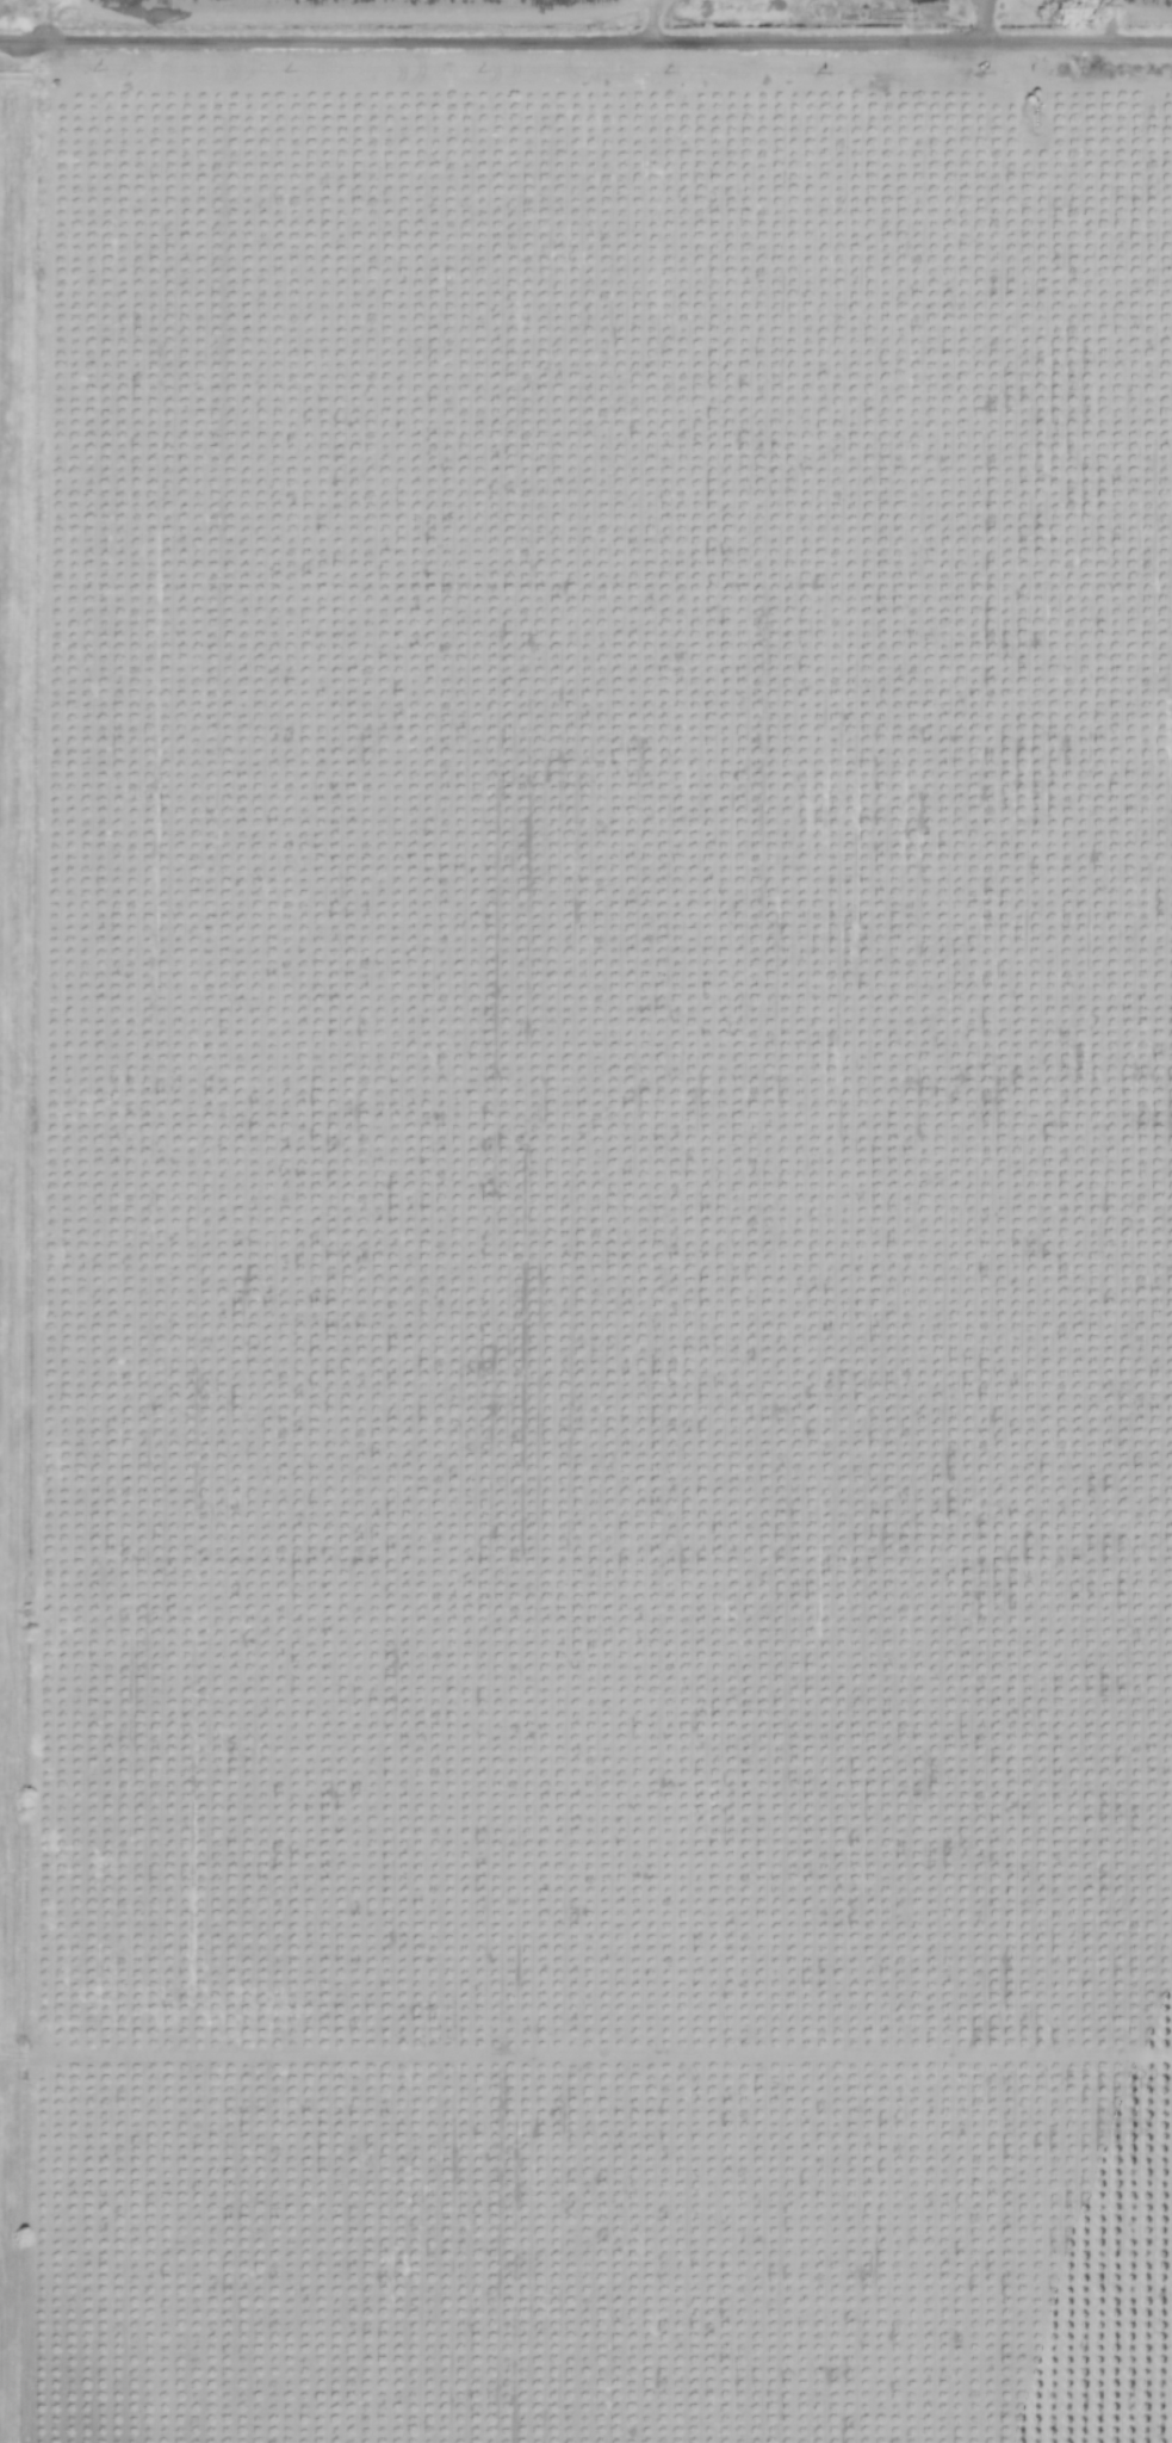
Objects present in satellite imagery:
road: (647, 21)
road: (585, 43)
road: (585, 2067)

